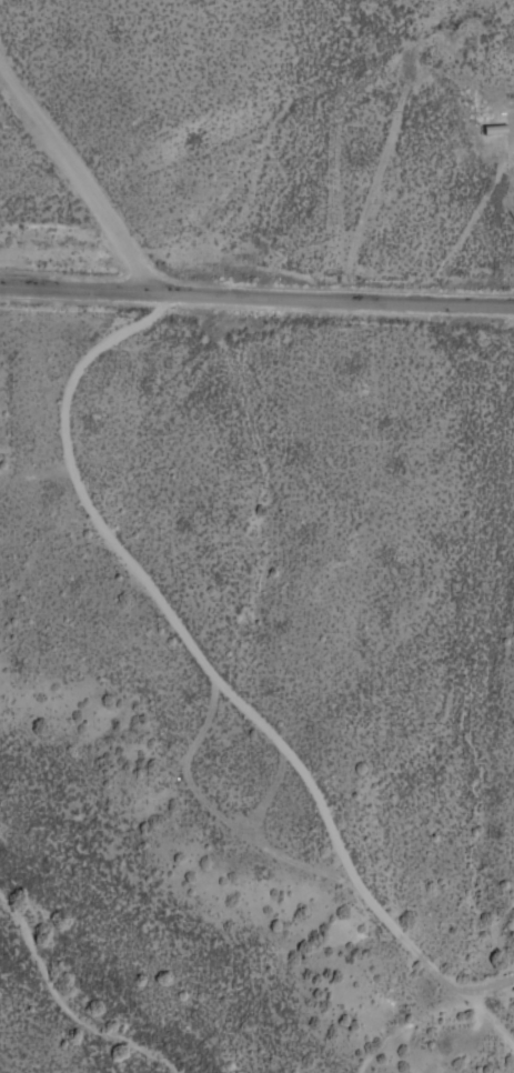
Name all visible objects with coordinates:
road: (72, 177)
road: (256, 297)
road: (213, 670)
building: (513, 899)
road: (491, 1015)

